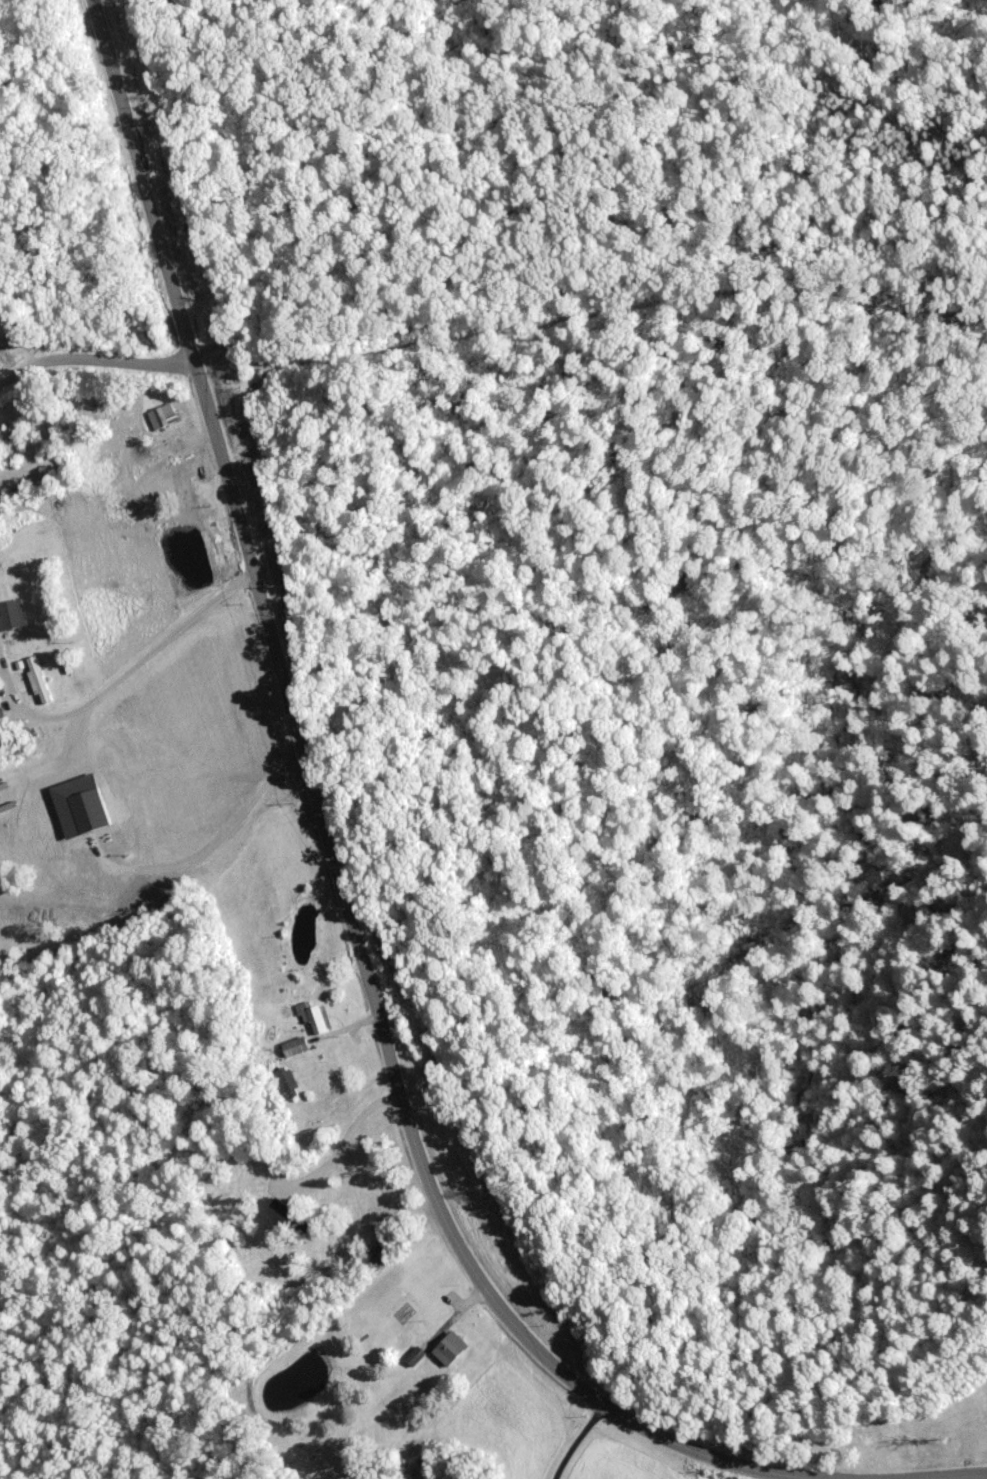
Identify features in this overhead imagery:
road: (95, 354)
building: (165, 416)
building: (19, 493)
building: (13, 614)
building: (40, 679)
building: (124, 796)
road: (328, 834)
building: (151, 885)
building: (308, 1016)
building: (289, 1047)
building: (281, 1081)
building: (447, 1342)
road: (560, 1434)
road: (969, 1478)

